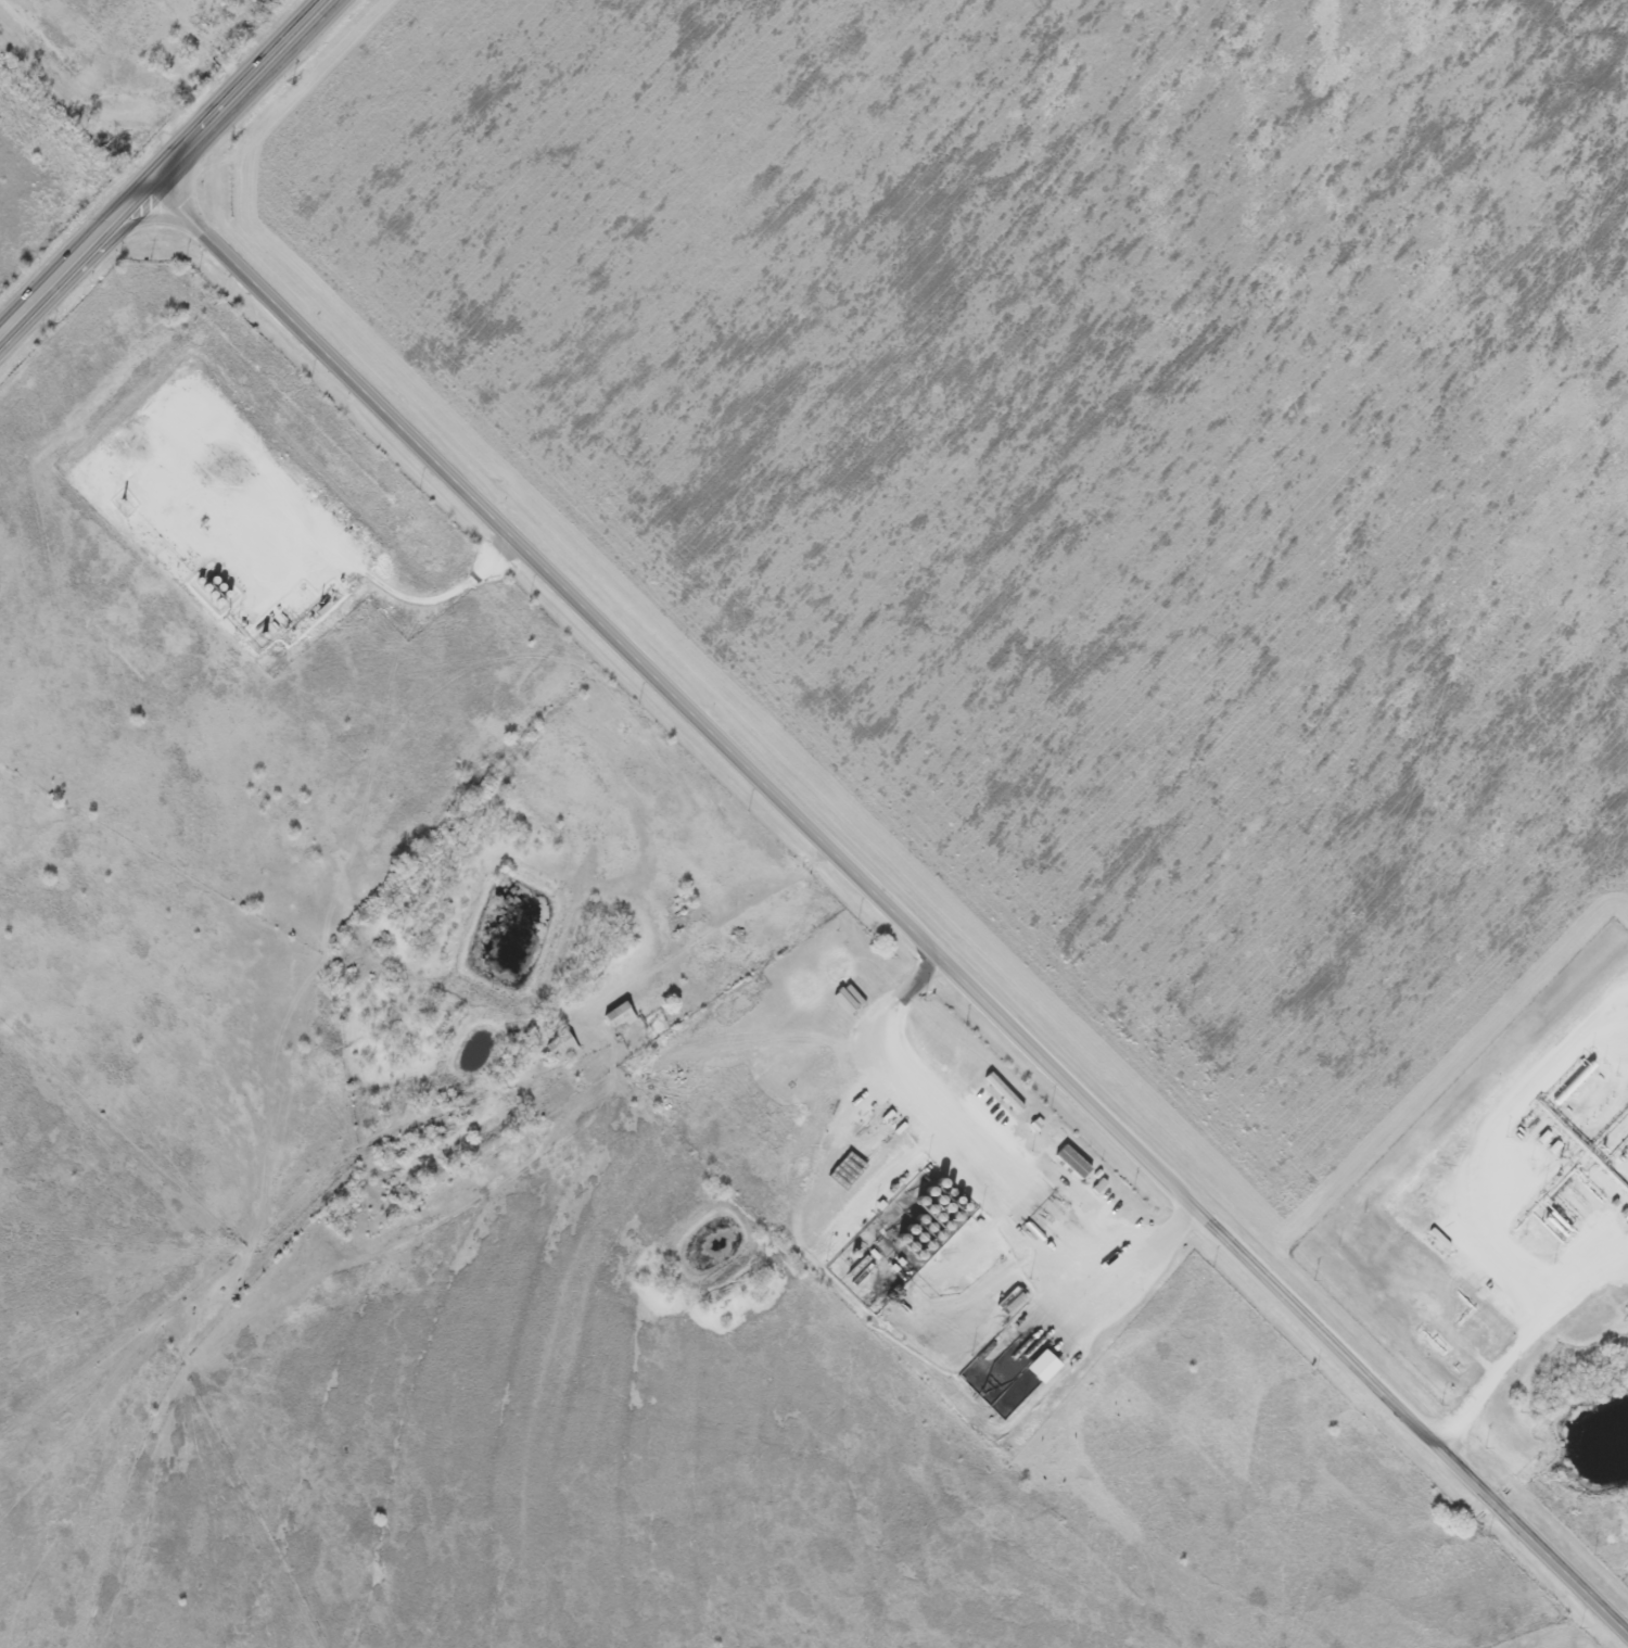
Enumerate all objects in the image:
road: (169, 175)
road: (895, 895)
building: (616, 1017)
building: (559, 1047)

